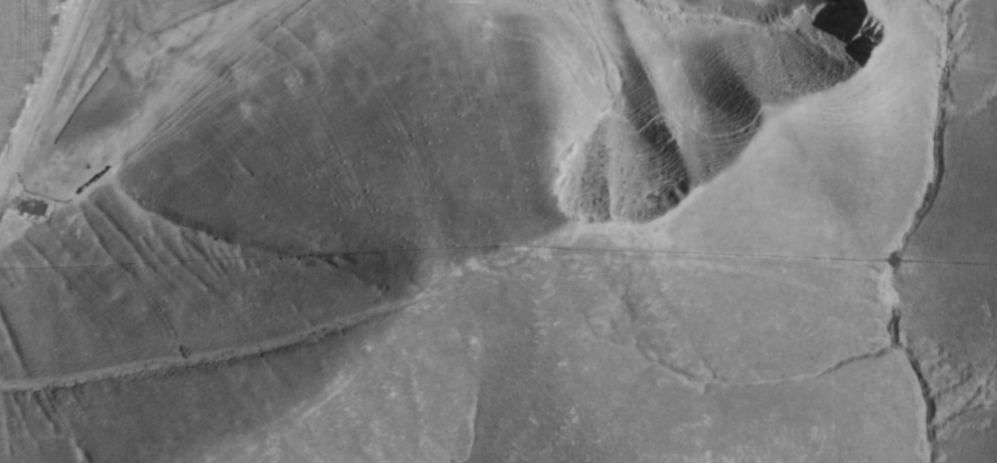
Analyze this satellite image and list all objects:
road: (43, 88)
road: (255, 367)

